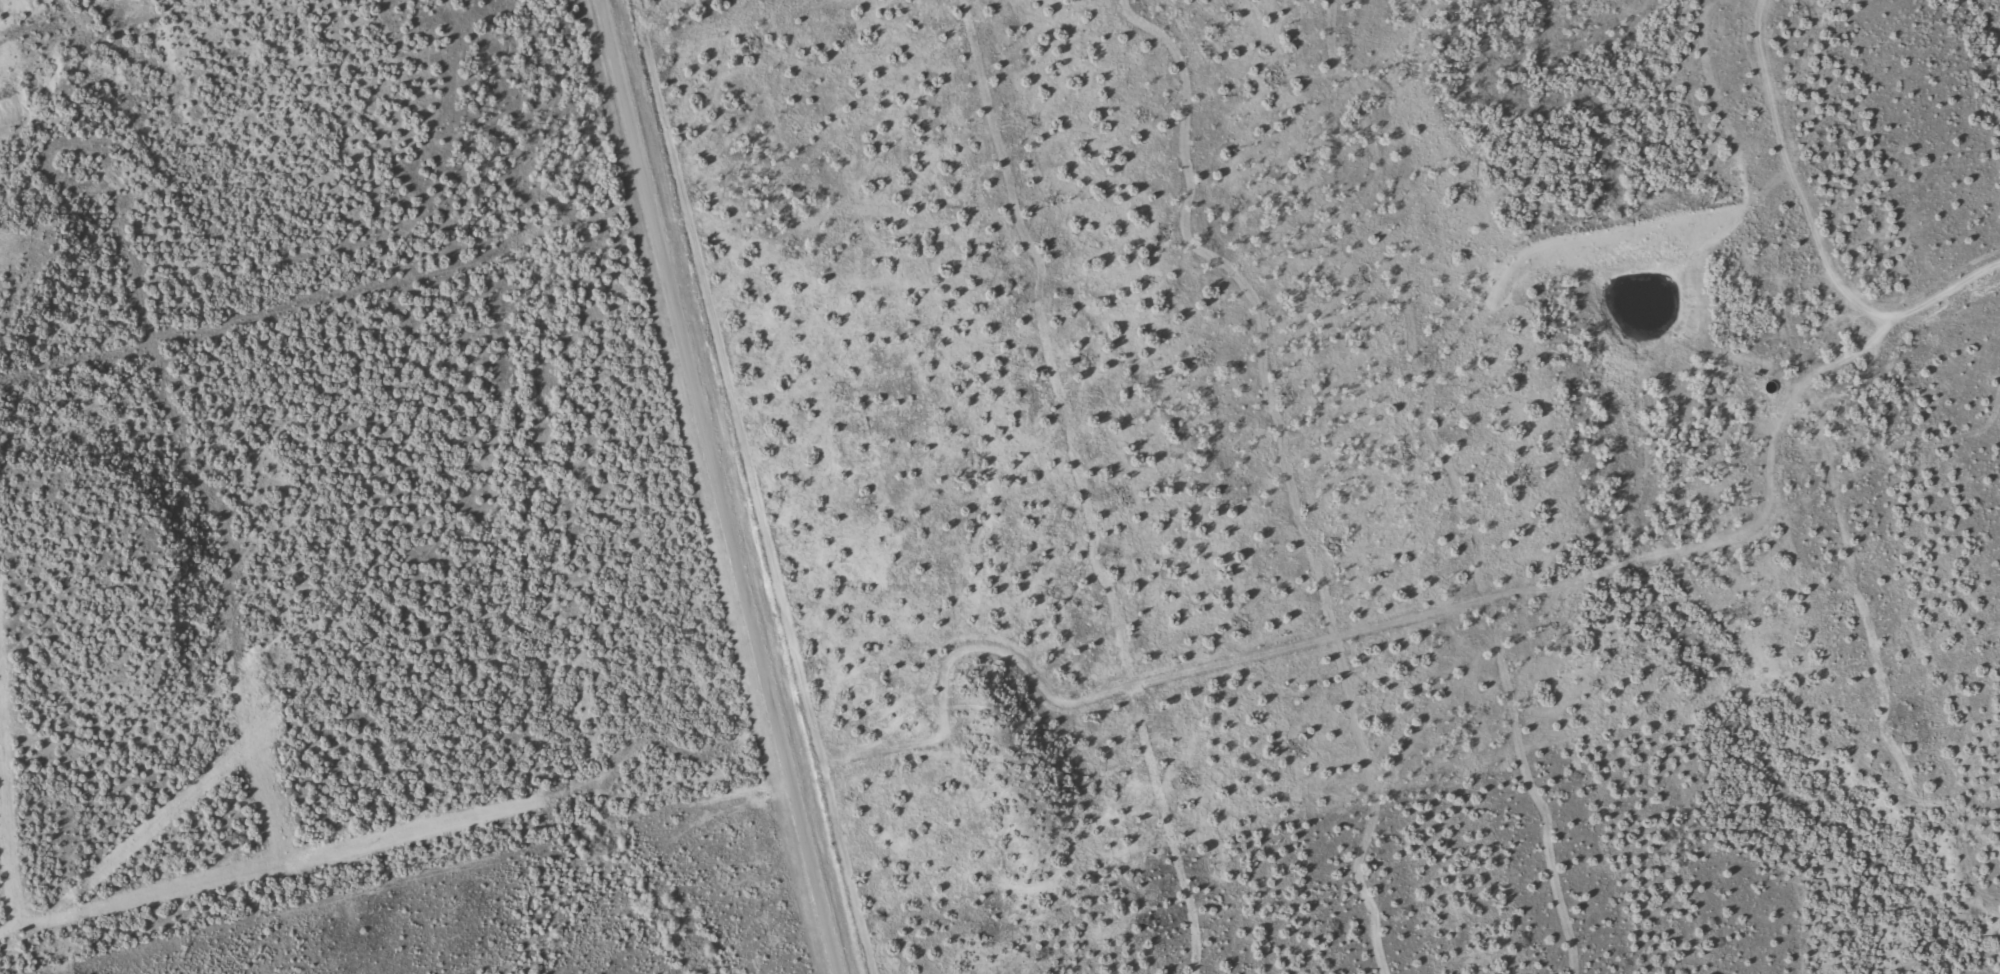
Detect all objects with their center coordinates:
road: (1866, 292)
road: (720, 486)

